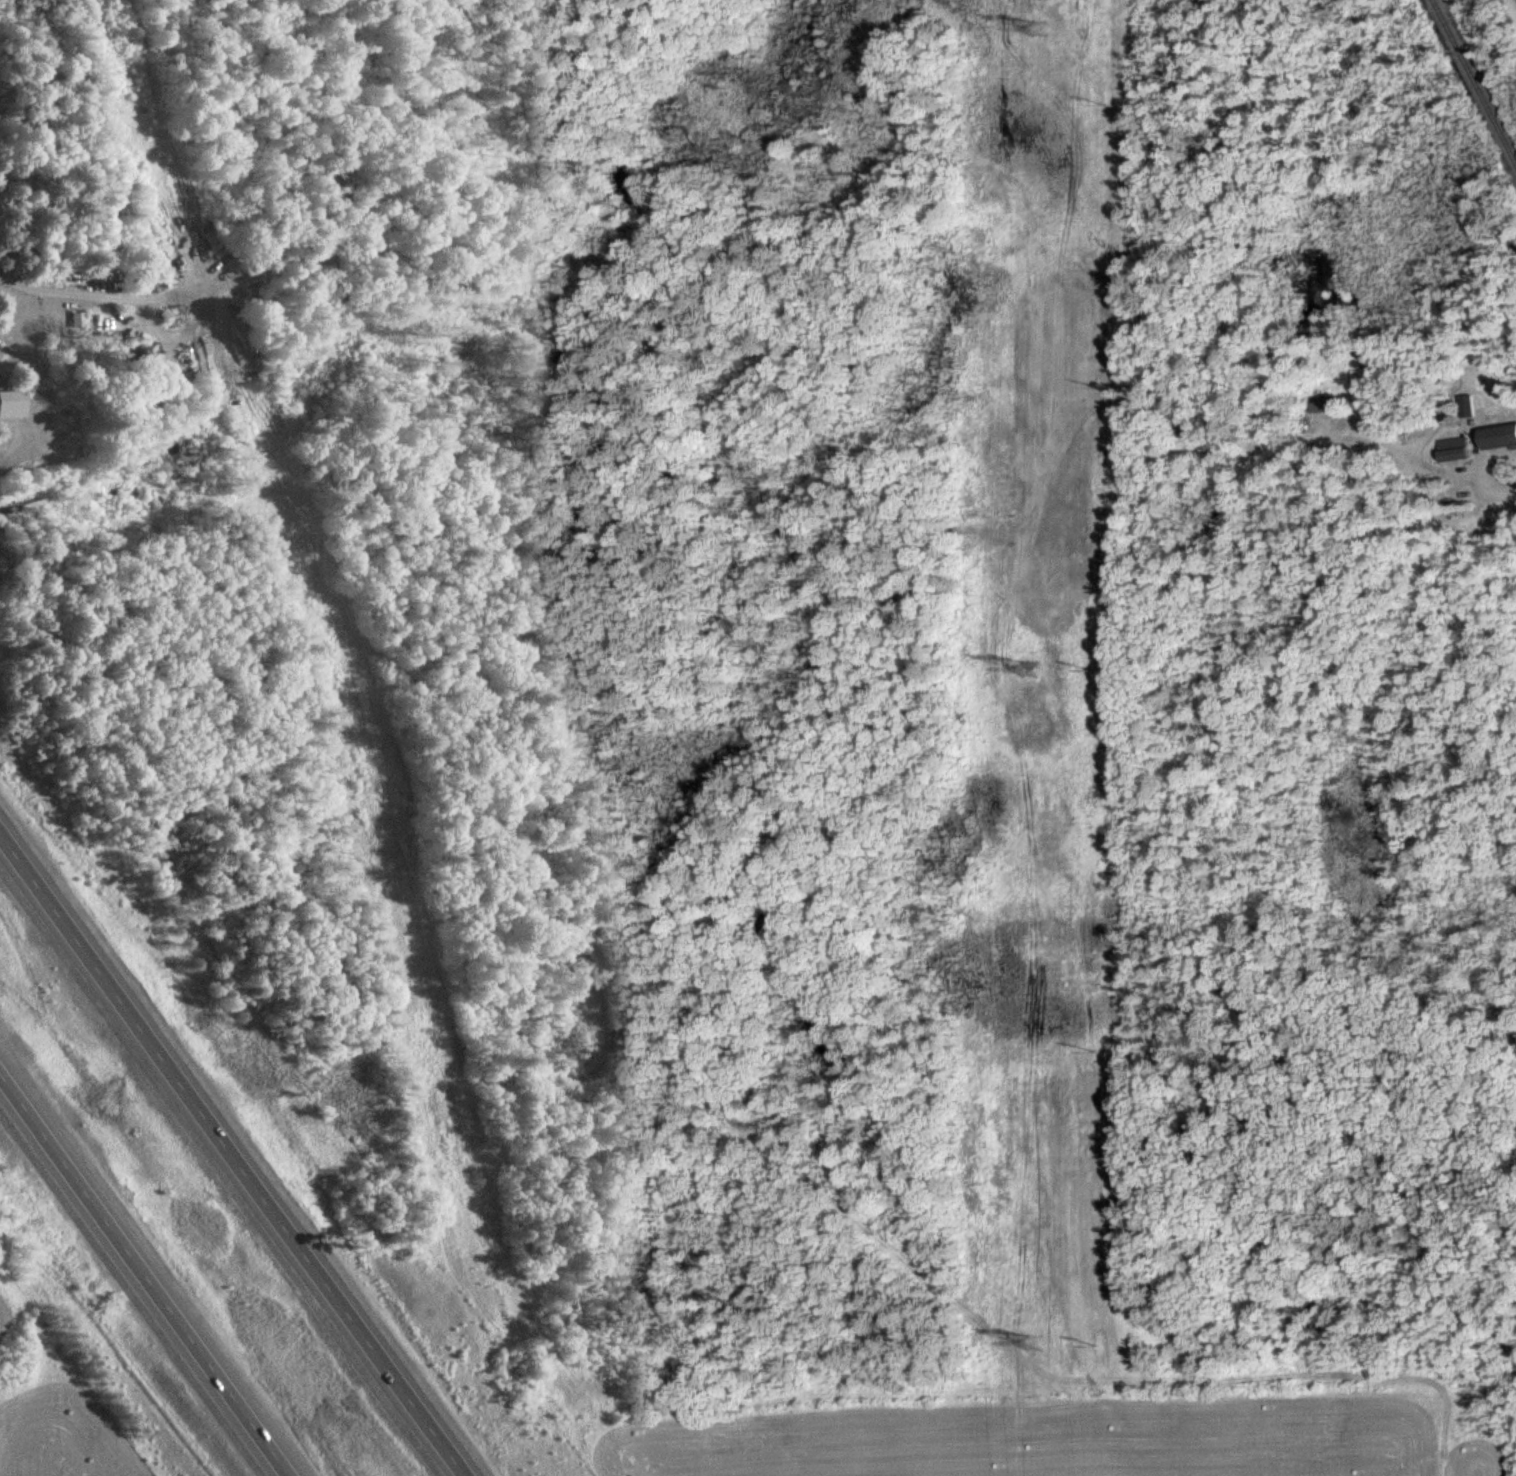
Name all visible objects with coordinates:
power tower: (1037, 23)
railway: (1470, 87)
building: (1329, 404)
building: (1500, 436)
building: (1457, 449)
building: (0, 480)
power tower: (1028, 667)
building: (632, 1142)
road: (232, 1151)
road: (147, 1271)
power tower: (1034, 1341)

